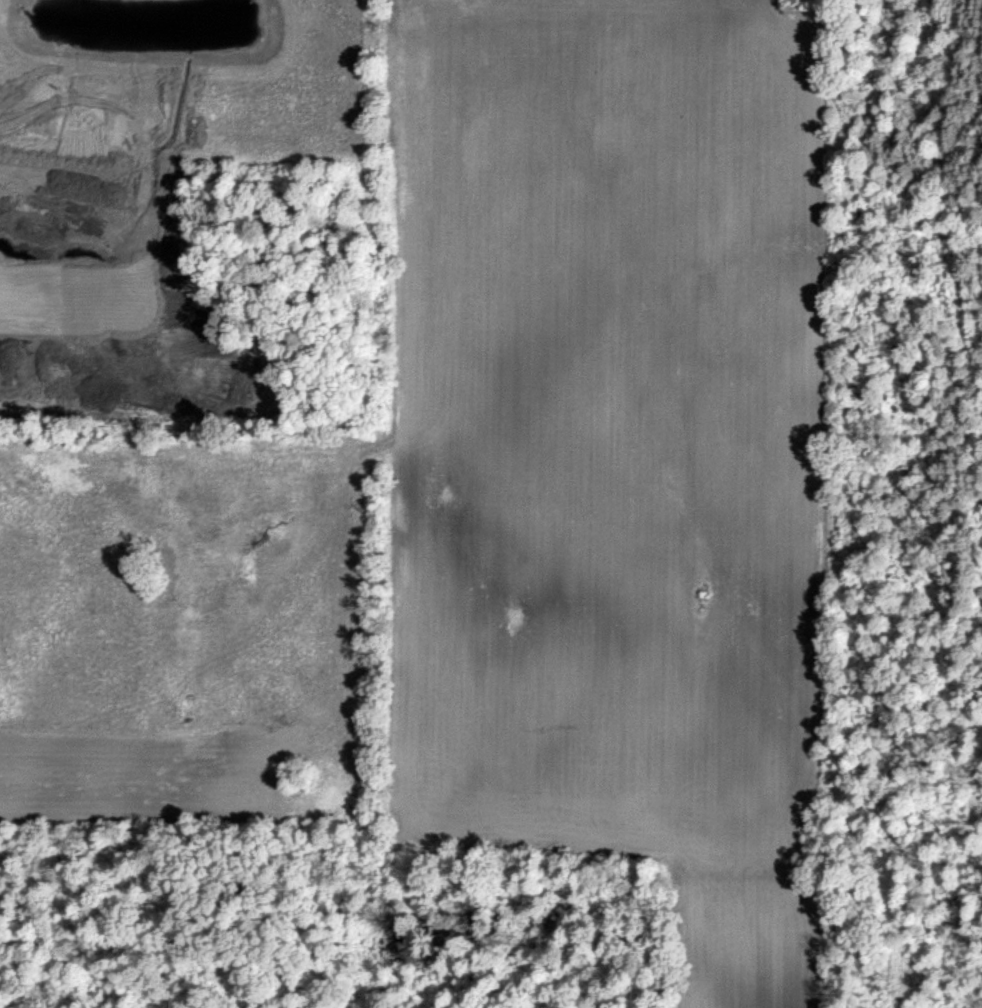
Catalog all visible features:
crop: (181, 83)
crop: (604, 416)
crop: (173, 627)
crop: (741, 944)

